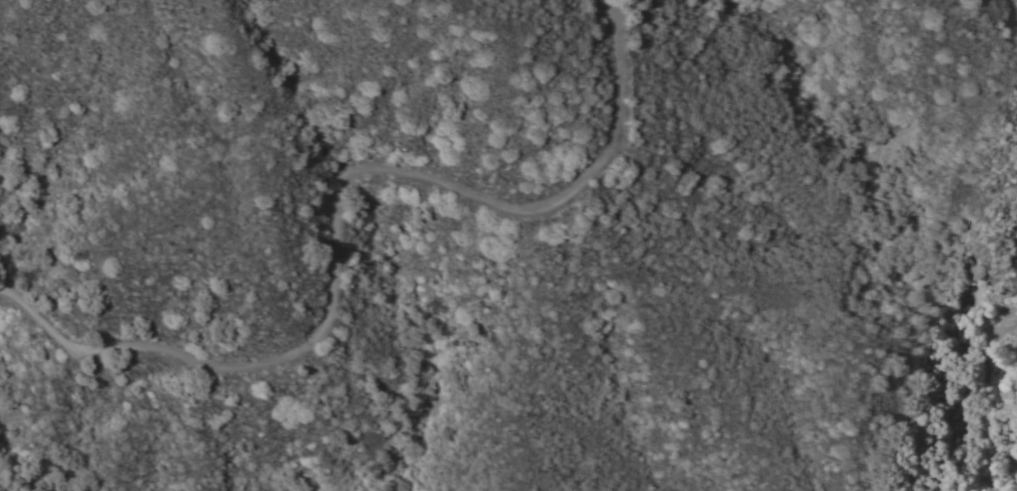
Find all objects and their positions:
road: (337, 206)
road: (975, 398)

